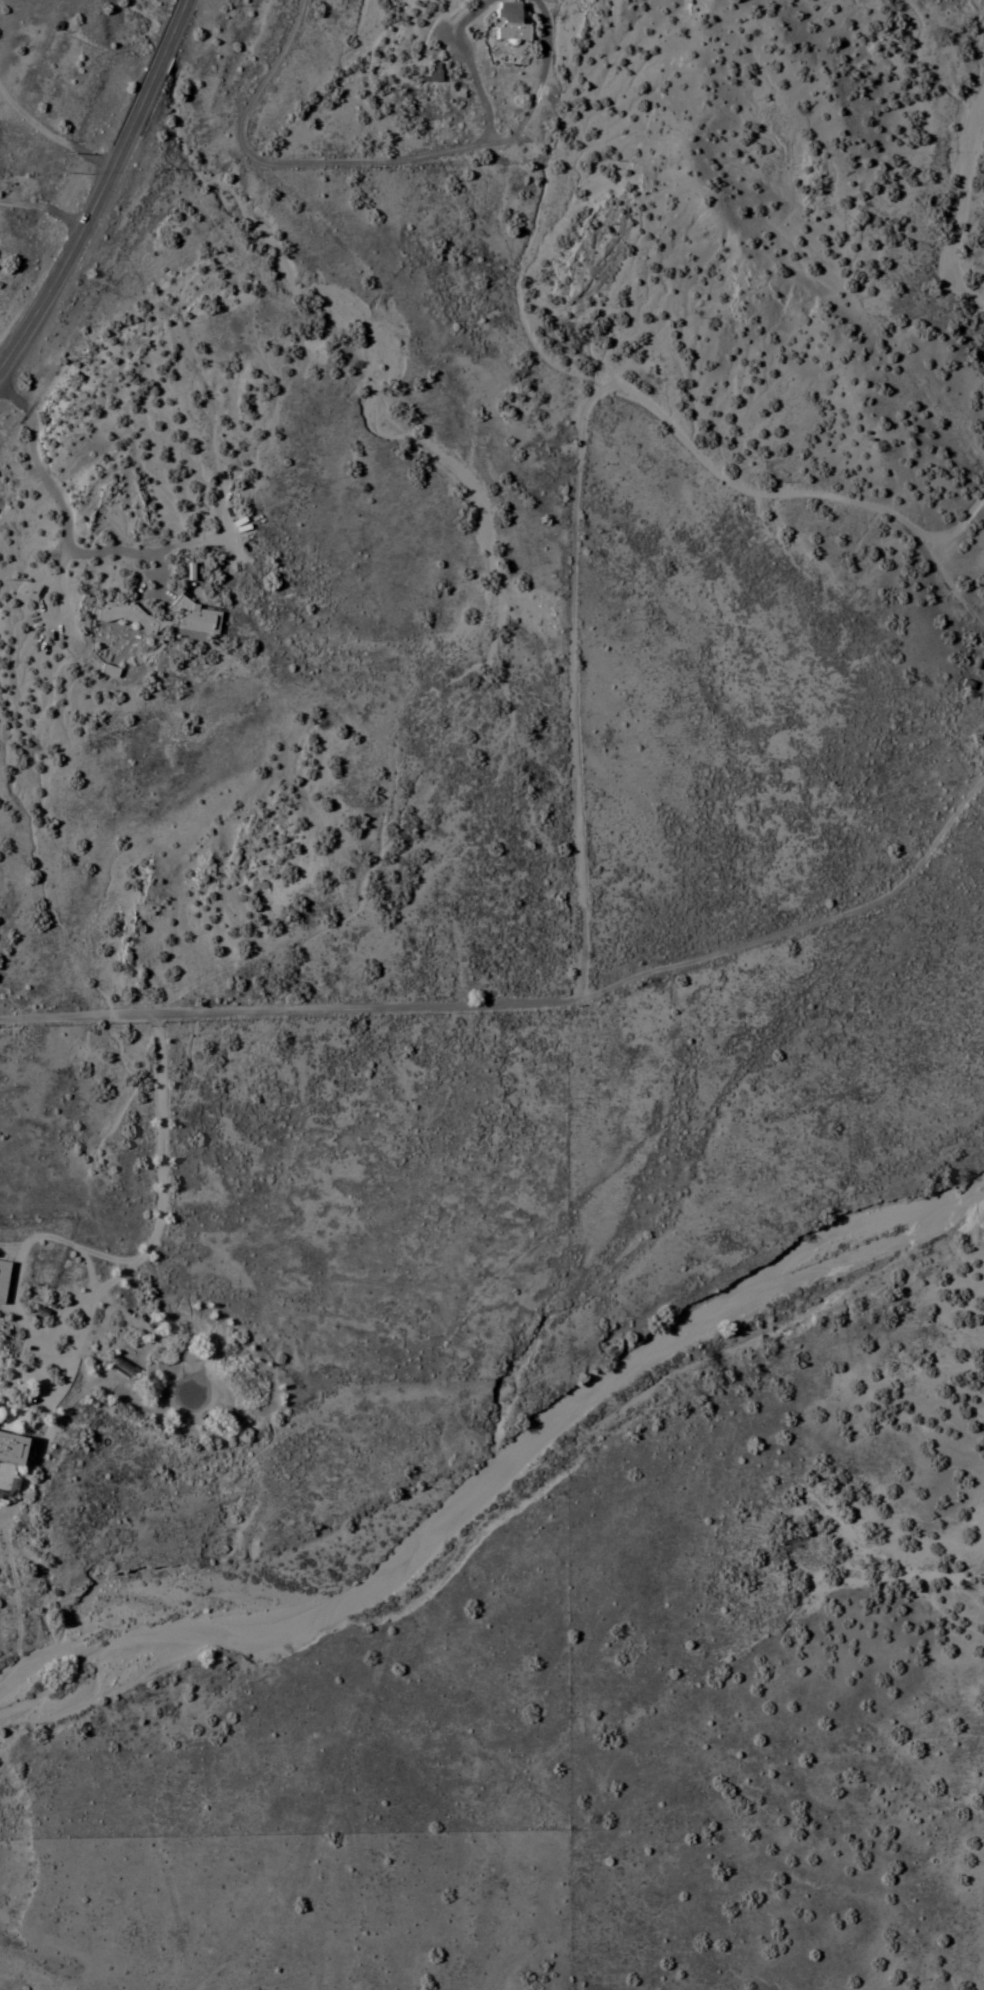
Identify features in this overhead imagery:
building: (506, 23)
building: (431, 72)
road: (101, 186)
building: (973, 256)
building: (191, 618)
building: (105, 671)
road: (799, 927)
road: (282, 1010)
building: (10, 1447)

